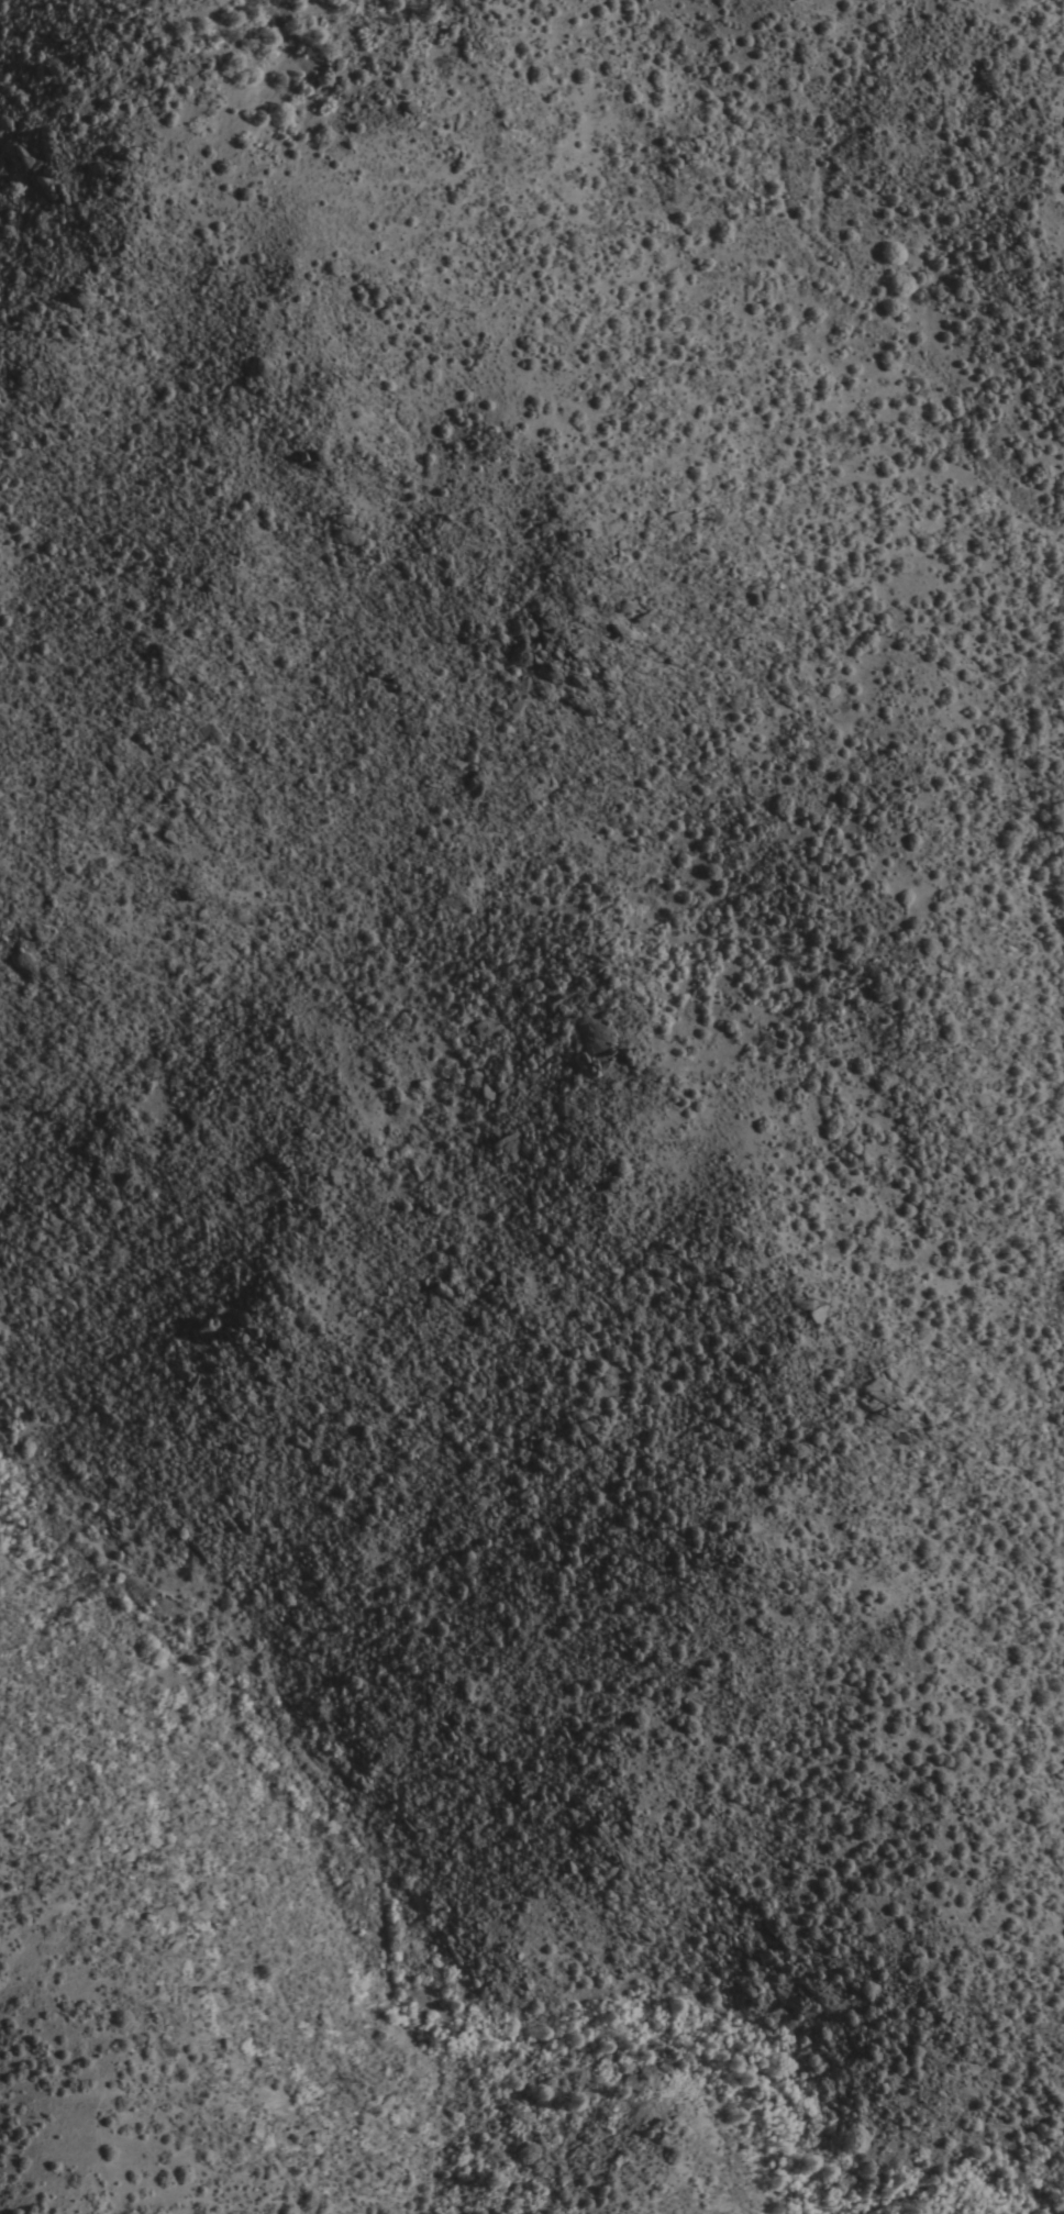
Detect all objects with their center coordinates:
road: (82, 2040)

